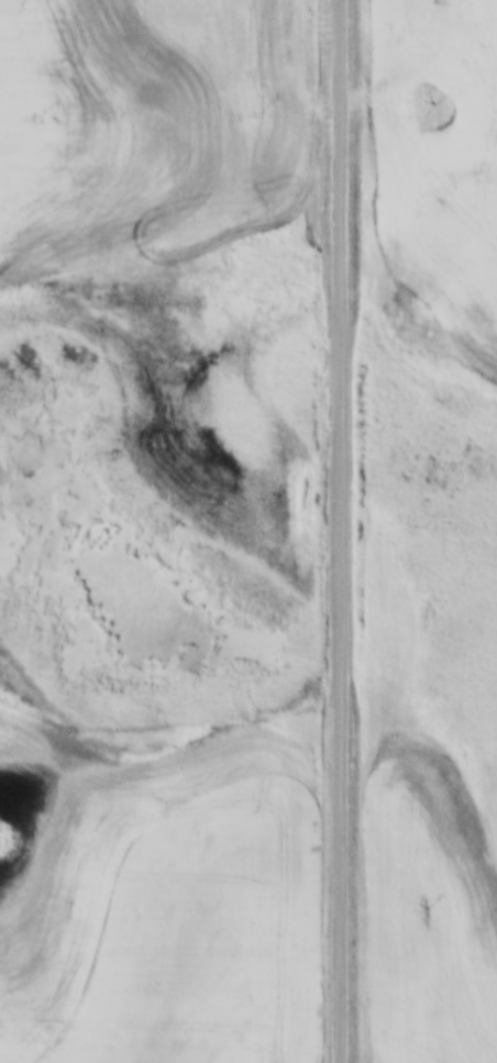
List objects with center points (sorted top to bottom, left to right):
road: (341, 531)

